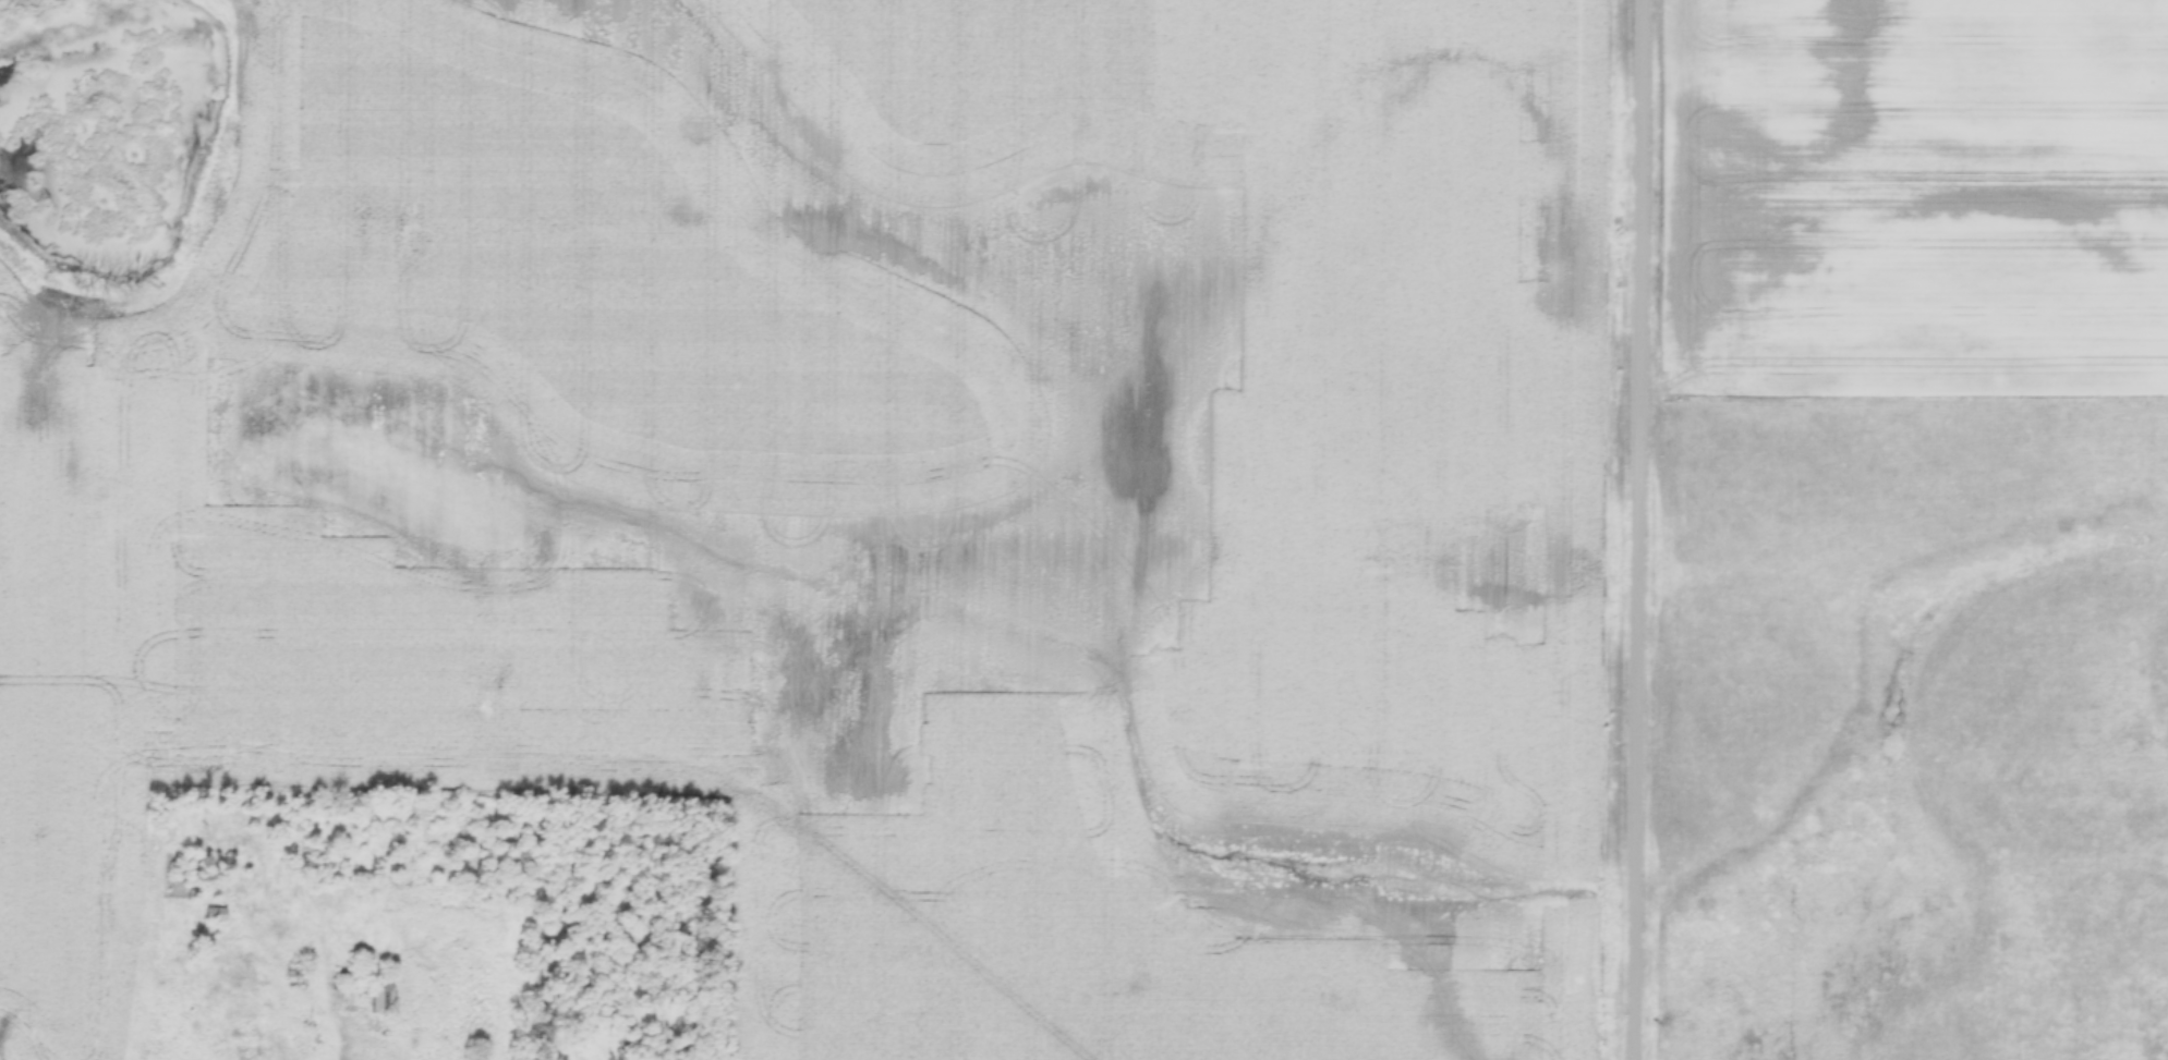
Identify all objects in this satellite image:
road: (1632, 529)
building: (209, 915)
building: (373, 999)
building: (482, 1049)

